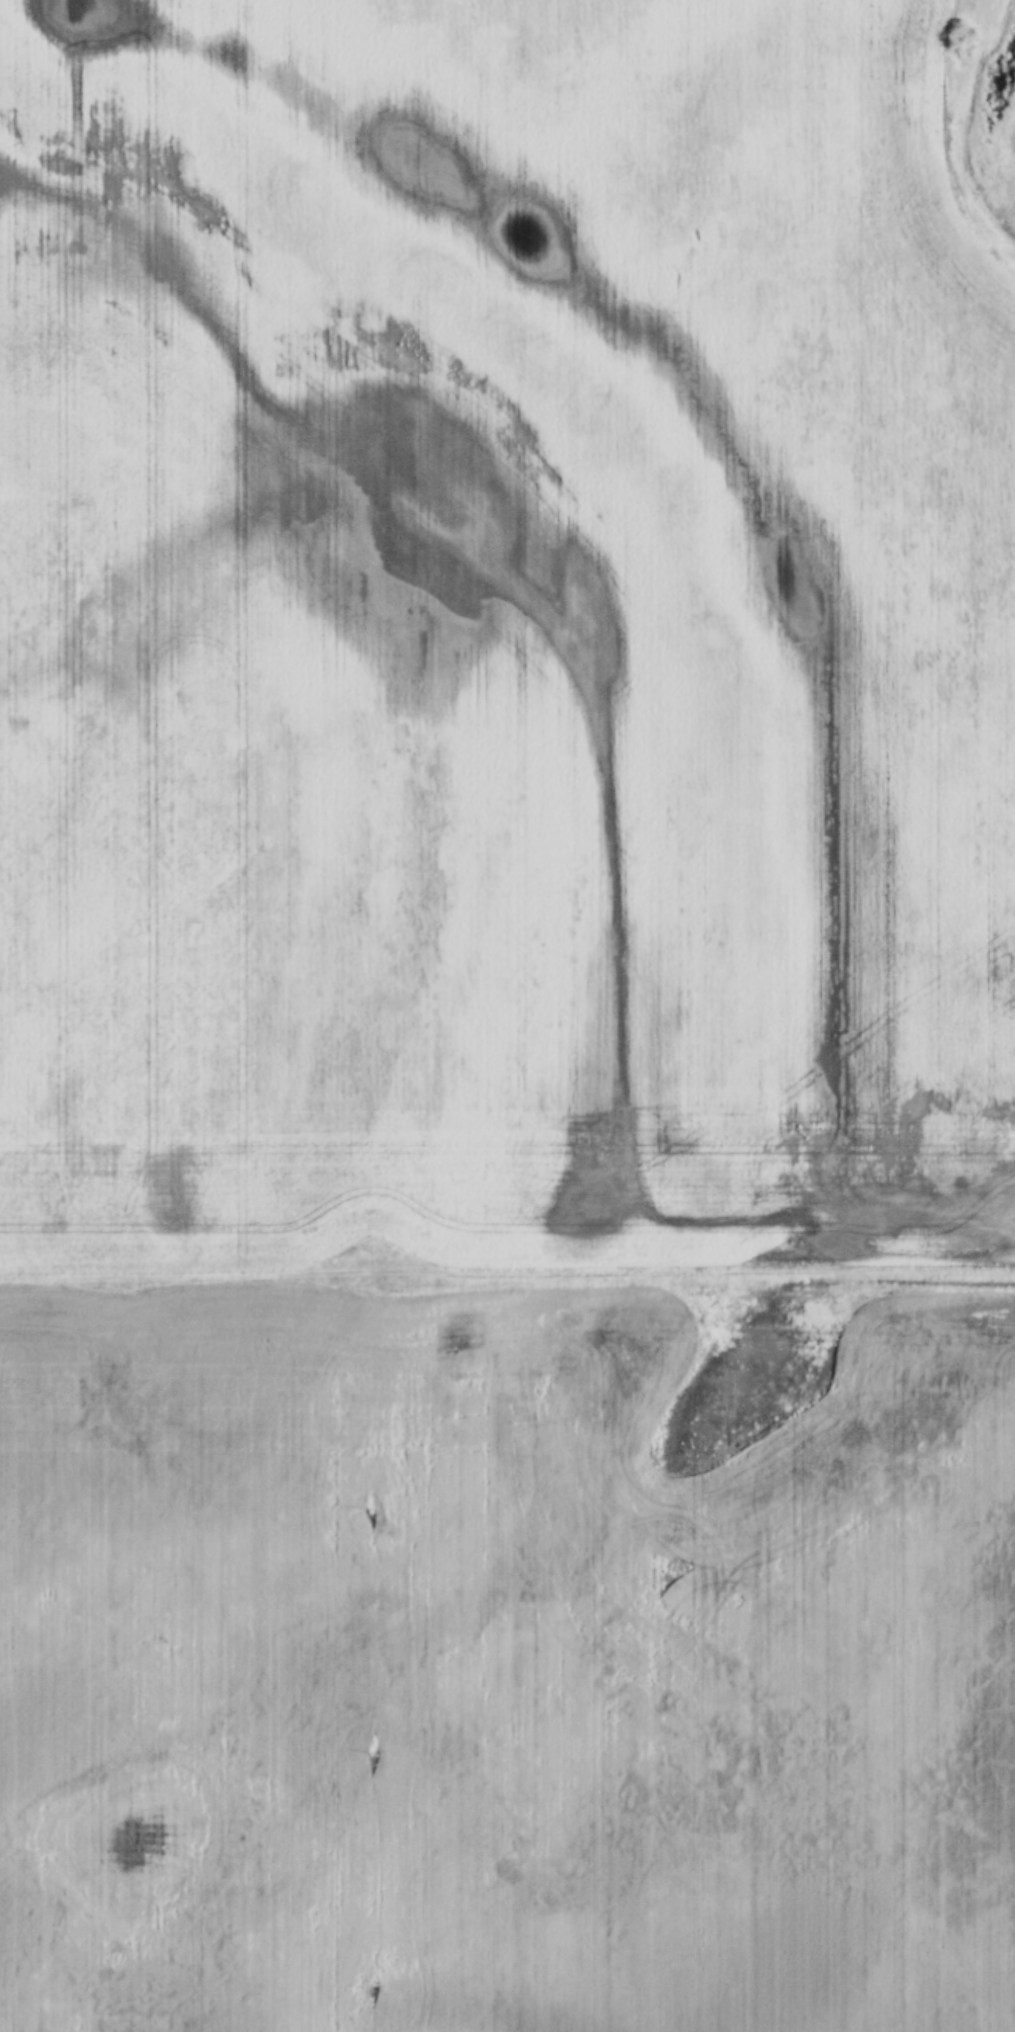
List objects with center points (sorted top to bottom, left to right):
road: (507, 1276)

